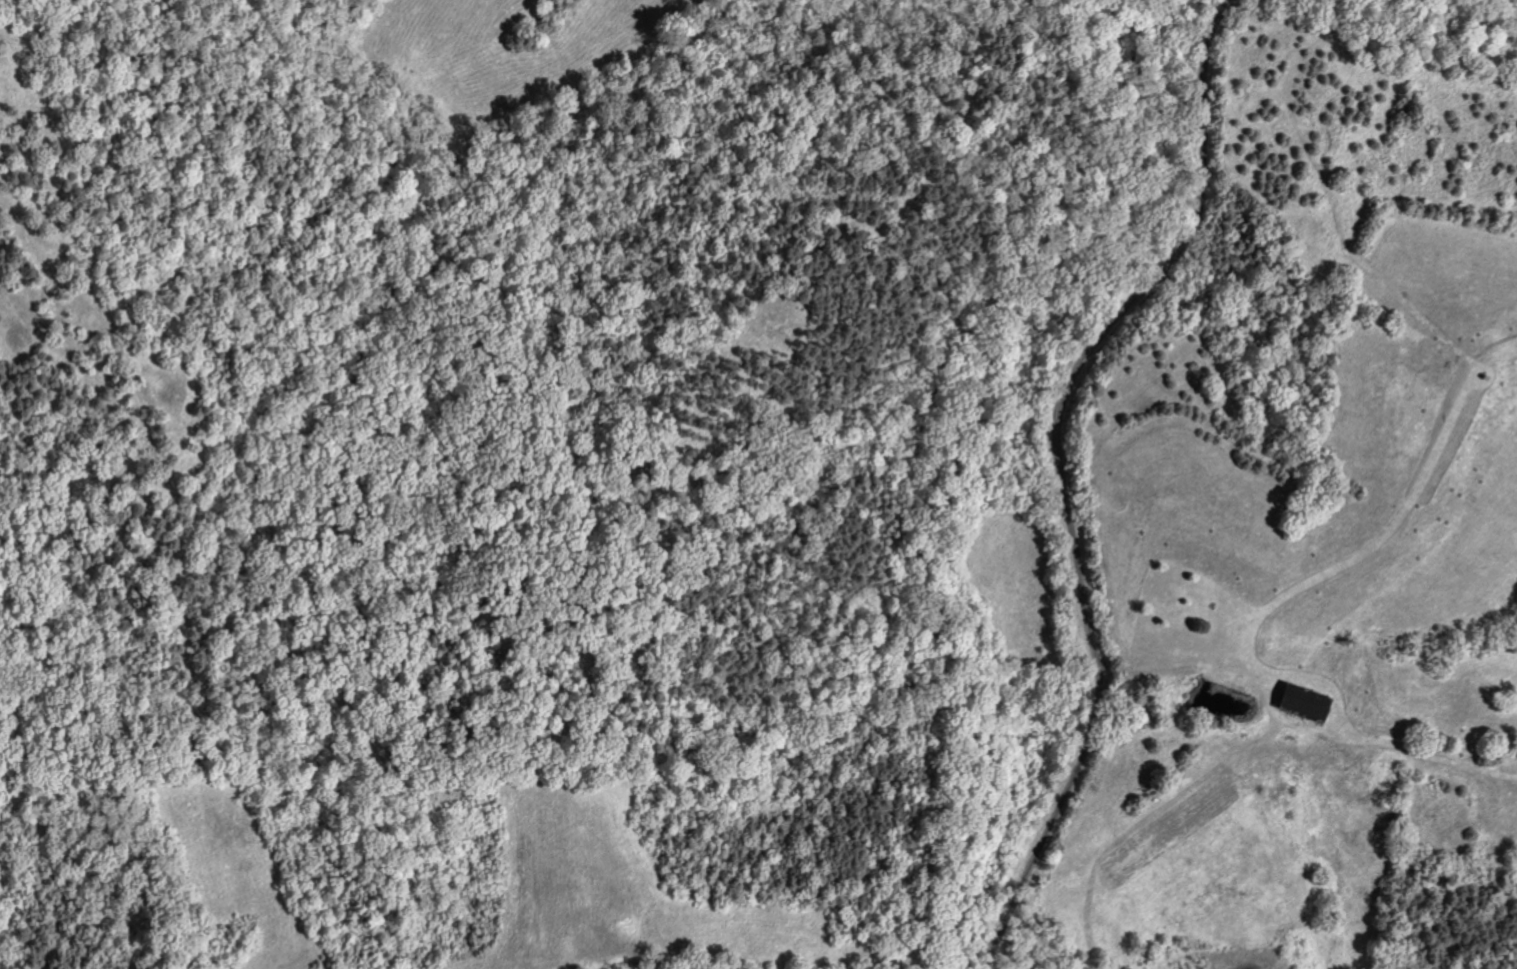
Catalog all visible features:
road: (1057, 470)
building: (1295, 701)

